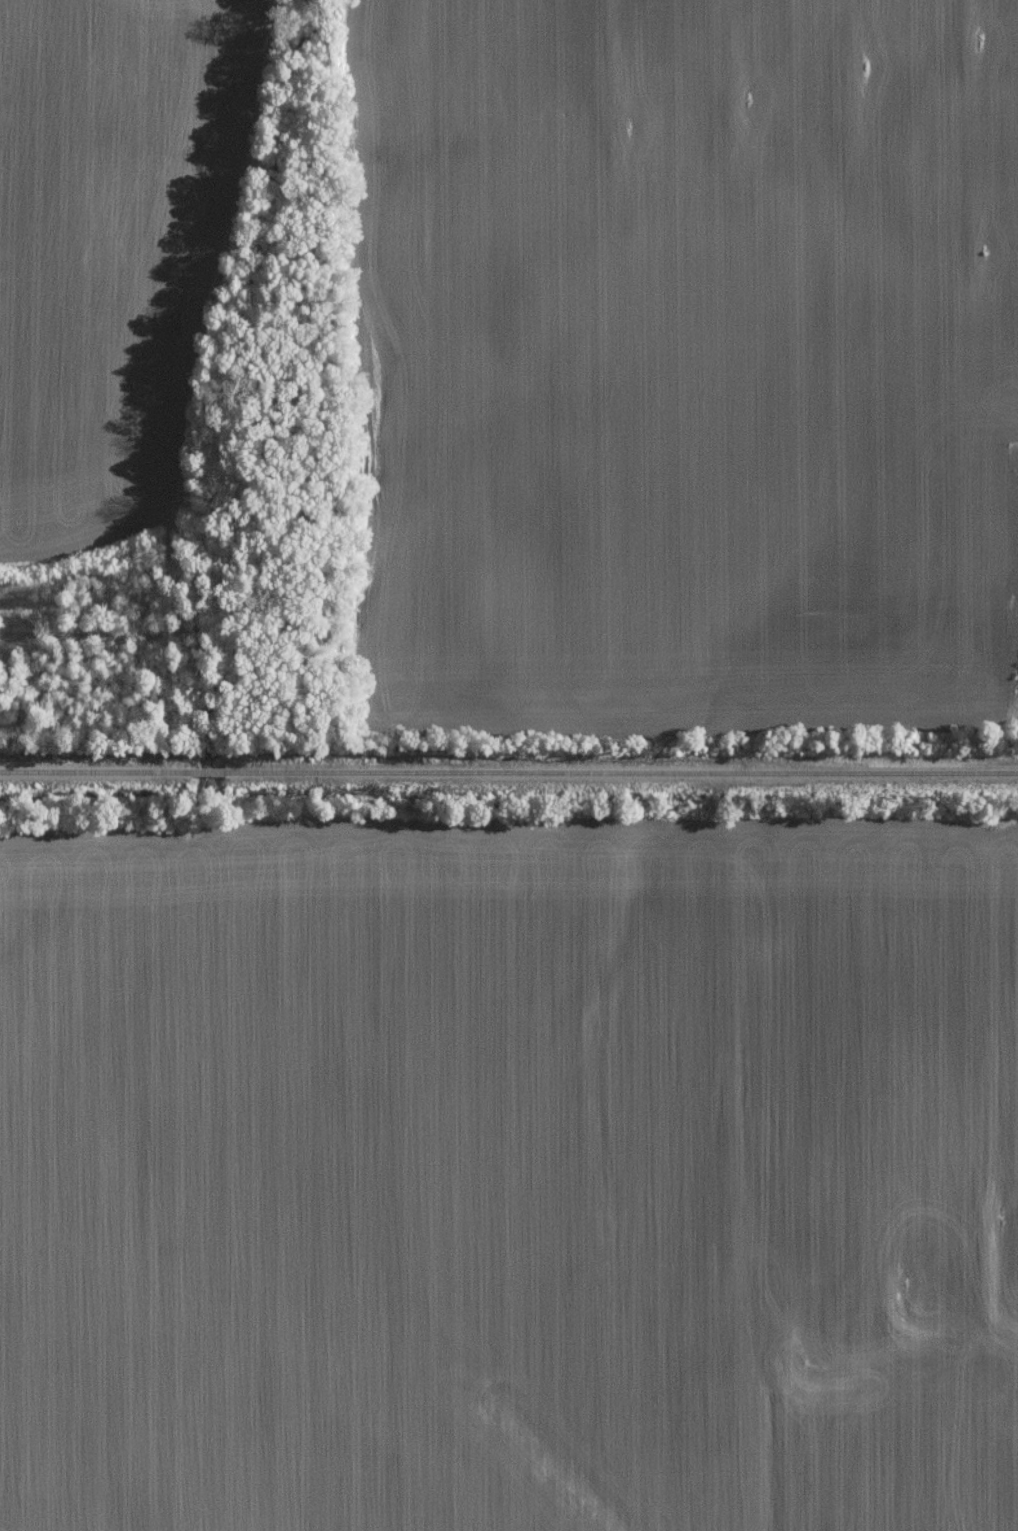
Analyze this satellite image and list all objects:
railway: (96, 772)
railway: (201, 773)
railway: (614, 773)

